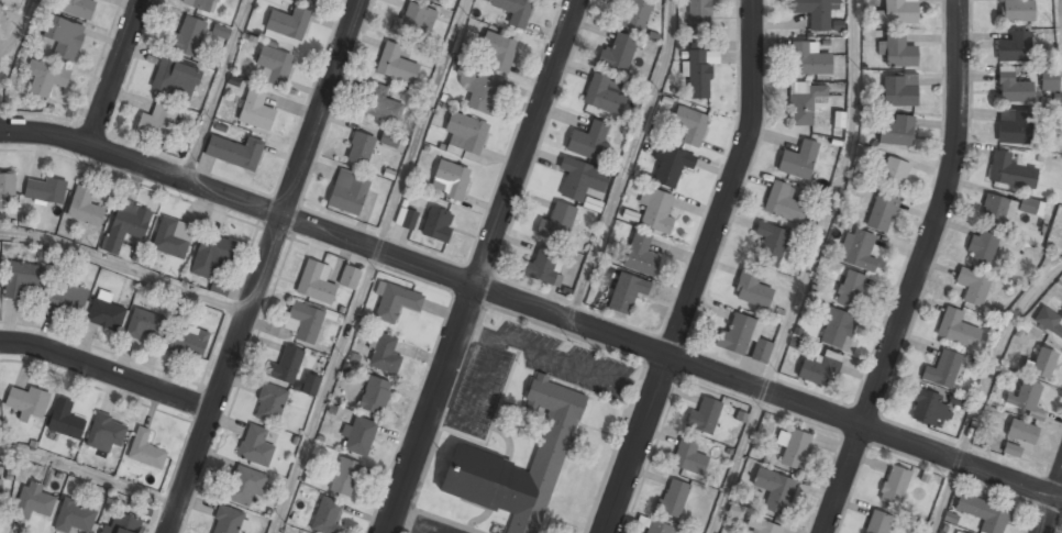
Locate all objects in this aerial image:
building: (434, 0)
building: (310, 1)
building: (202, 4)
building: (78, 8)
building: (1015, 10)
building: (513, 11)
building: (815, 12)
building: (897, 12)
road: (1061, 12)
building: (635, 14)
building: (698, 14)
building: (416, 20)
building: (288, 22)
road: (19, 26)
building: (221, 31)
building: (187, 36)
building: (64, 37)
building: (1014, 47)
building: (498, 51)
building: (897, 51)
building: (617, 54)
building: (807, 59)
building: (397, 63)
building: (275, 64)
building: (699, 71)
road: (115, 74)
building: (46, 77)
building: (1049, 78)
building: (175, 79)
building: (478, 89)
building: (1013, 89)
road: (214, 90)
building: (899, 90)
building: (605, 93)
building: (805, 102)
building: (380, 103)
building: (255, 109)
building: (838, 119)
building: (157, 123)
building: (689, 124)
road: (422, 125)
building: (1013, 126)
building: (896, 131)
building: (465, 133)
building: (388, 138)
building: (587, 140)
building: (359, 148)
building: (234, 152)
road: (624, 160)
building: (798, 160)
building: (670, 165)
building: (1010, 171)
building: (893, 175)
building: (580, 178)
building: (450, 179)
building: (5, 186)
building: (44, 189)
building: (347, 191)
road: (830, 199)
building: (783, 202)
building: (1030, 206)
building: (85, 208)
building: (656, 211)
building: (993, 211)
building: (882, 213)
building: (406, 218)
building: (556, 223)
building: (438, 224)
building: (125, 226)
building: (172, 238)
building: (770, 243)
building: (856, 249)
building: (981, 249)
building: (640, 254)
building: (210, 255)
road: (264, 266)
road: (484, 266)
road: (124, 267)
building: (541, 267)
road: (699, 269)
road: (915, 270)
building: (349, 277)
building: (22, 278)
building: (316, 282)
building: (219, 286)
building: (973, 287)
building: (851, 289)
building: (751, 290)
building: (626, 292)
building: (67, 297)
building: (396, 302)
road: (532, 307)
building: (106, 314)
building: (303, 322)
building: (1050, 322)
building: (144, 324)
building: (834, 326)
building: (956, 329)
building: (734, 335)
building: (188, 341)
building: (761, 351)
building: (384, 354)
road: (995, 354)
building: (1042, 363)
building: (286, 366)
building: (819, 369)
building: (942, 370)
road: (107, 373)
building: (310, 384)
road: (325, 391)
building: (374, 395)
building: (1024, 397)
building: (27, 401)
building: (270, 404)
building: (928, 409)
building: (704, 417)
building: (65, 420)
building: (106, 432)
building: (357, 436)
building: (1018, 437)
building: (255, 446)
building: (793, 448)
building: (145, 451)
building: (689, 457)
road: (738, 462)
building: (517, 465)
road: (89, 473)
building: (344, 477)
building: (245, 486)
building: (893, 486)
building: (774, 490)
building: (0, 493)
road: (944, 497)
building: (672, 498)
building: (33, 501)
road: (1051, 504)
building: (983, 513)
building: (327, 515)
building: (75, 517)
building: (226, 520)
building: (877, 522)
building: (122, 524)
building: (761, 526)
building: (655, 528)
building: (956, 532)

